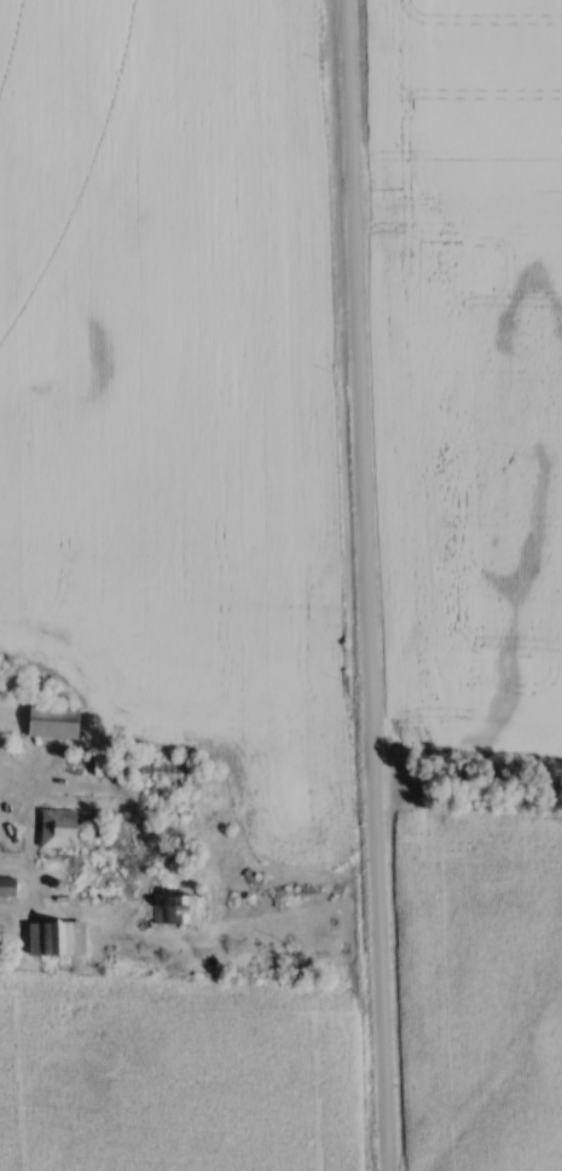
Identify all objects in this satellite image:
road: (366, 584)
building: (57, 722)
building: (114, 768)
building: (63, 830)
building: (10, 888)
building: (179, 911)
building: (60, 940)

